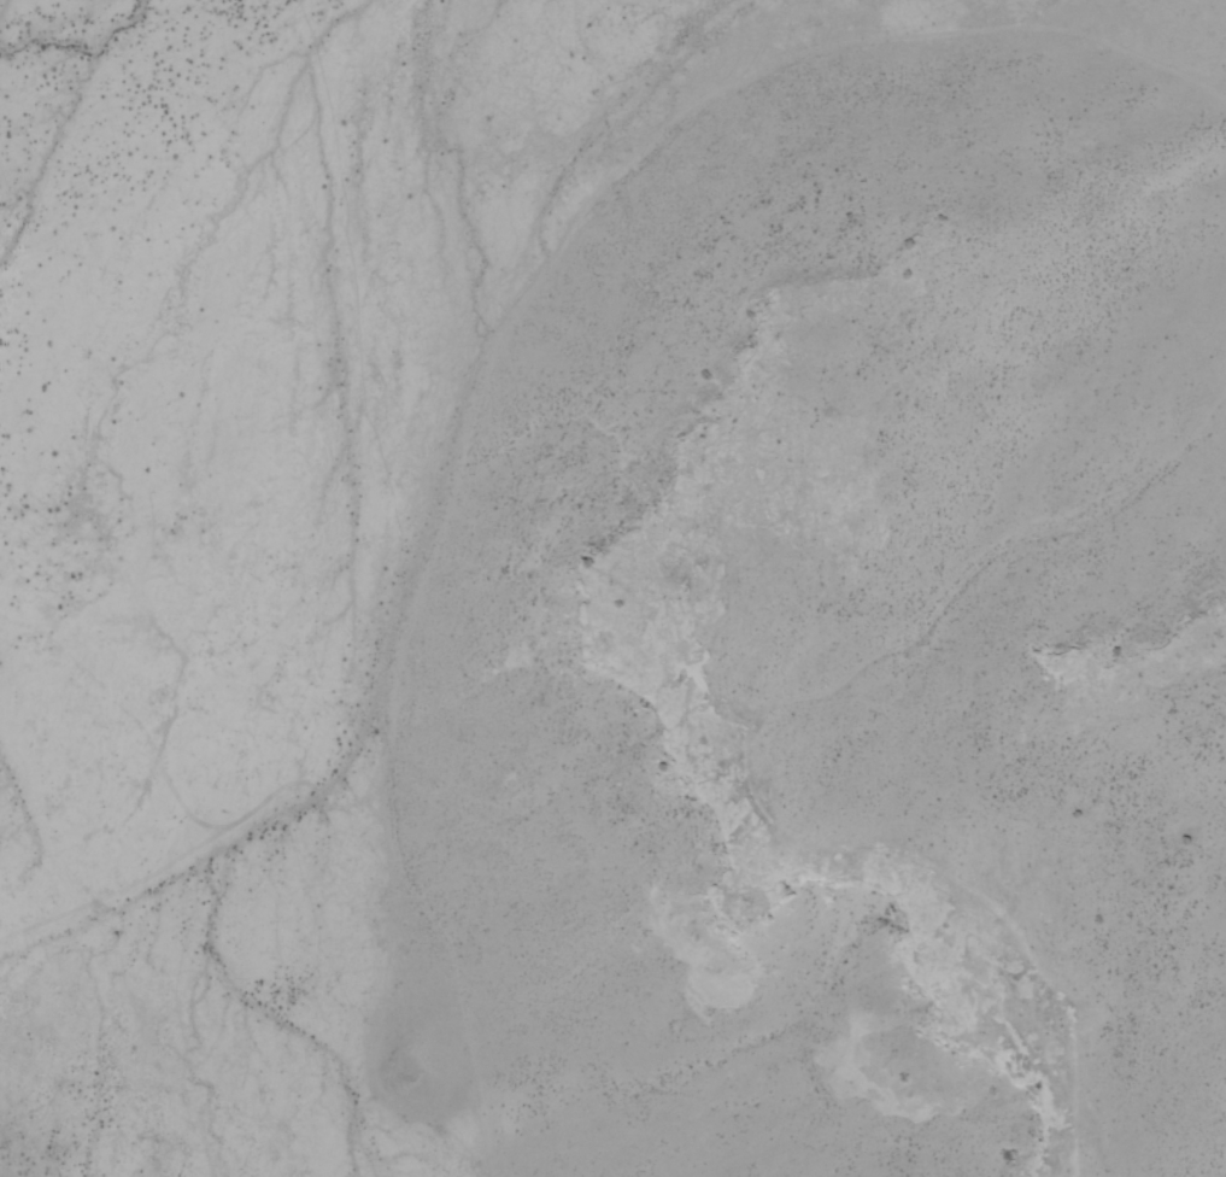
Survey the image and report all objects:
river: (58, 30)

